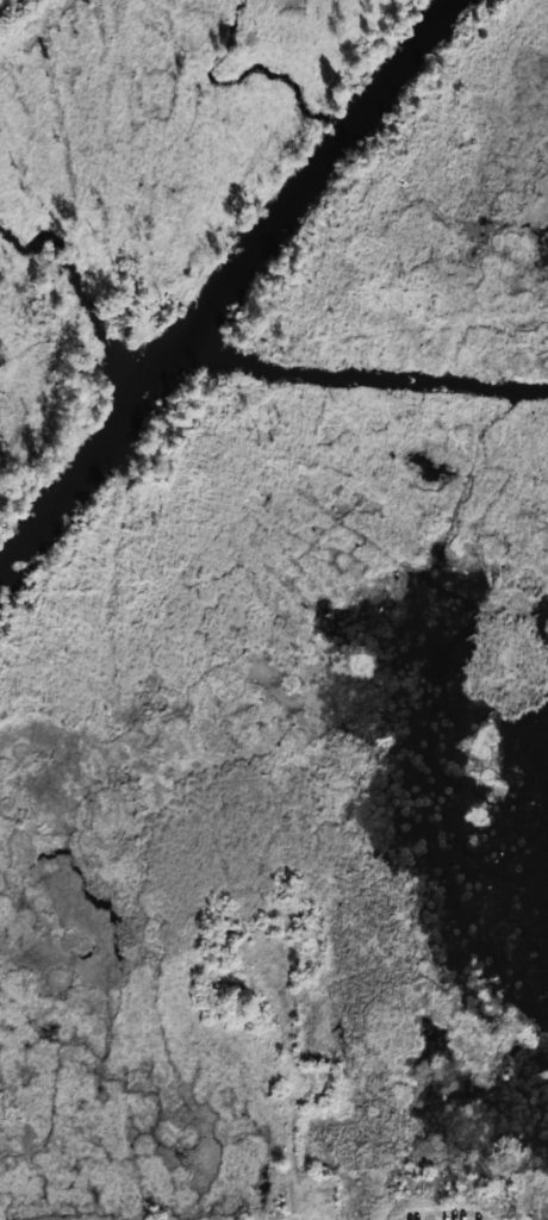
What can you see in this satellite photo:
road: (295, 1081)

